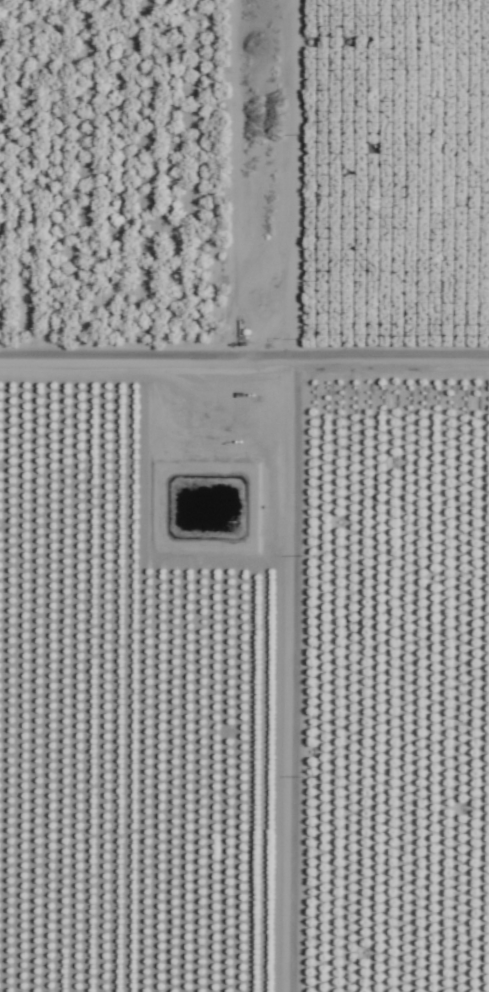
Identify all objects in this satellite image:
road: (258, 496)
crop: (95, 845)

